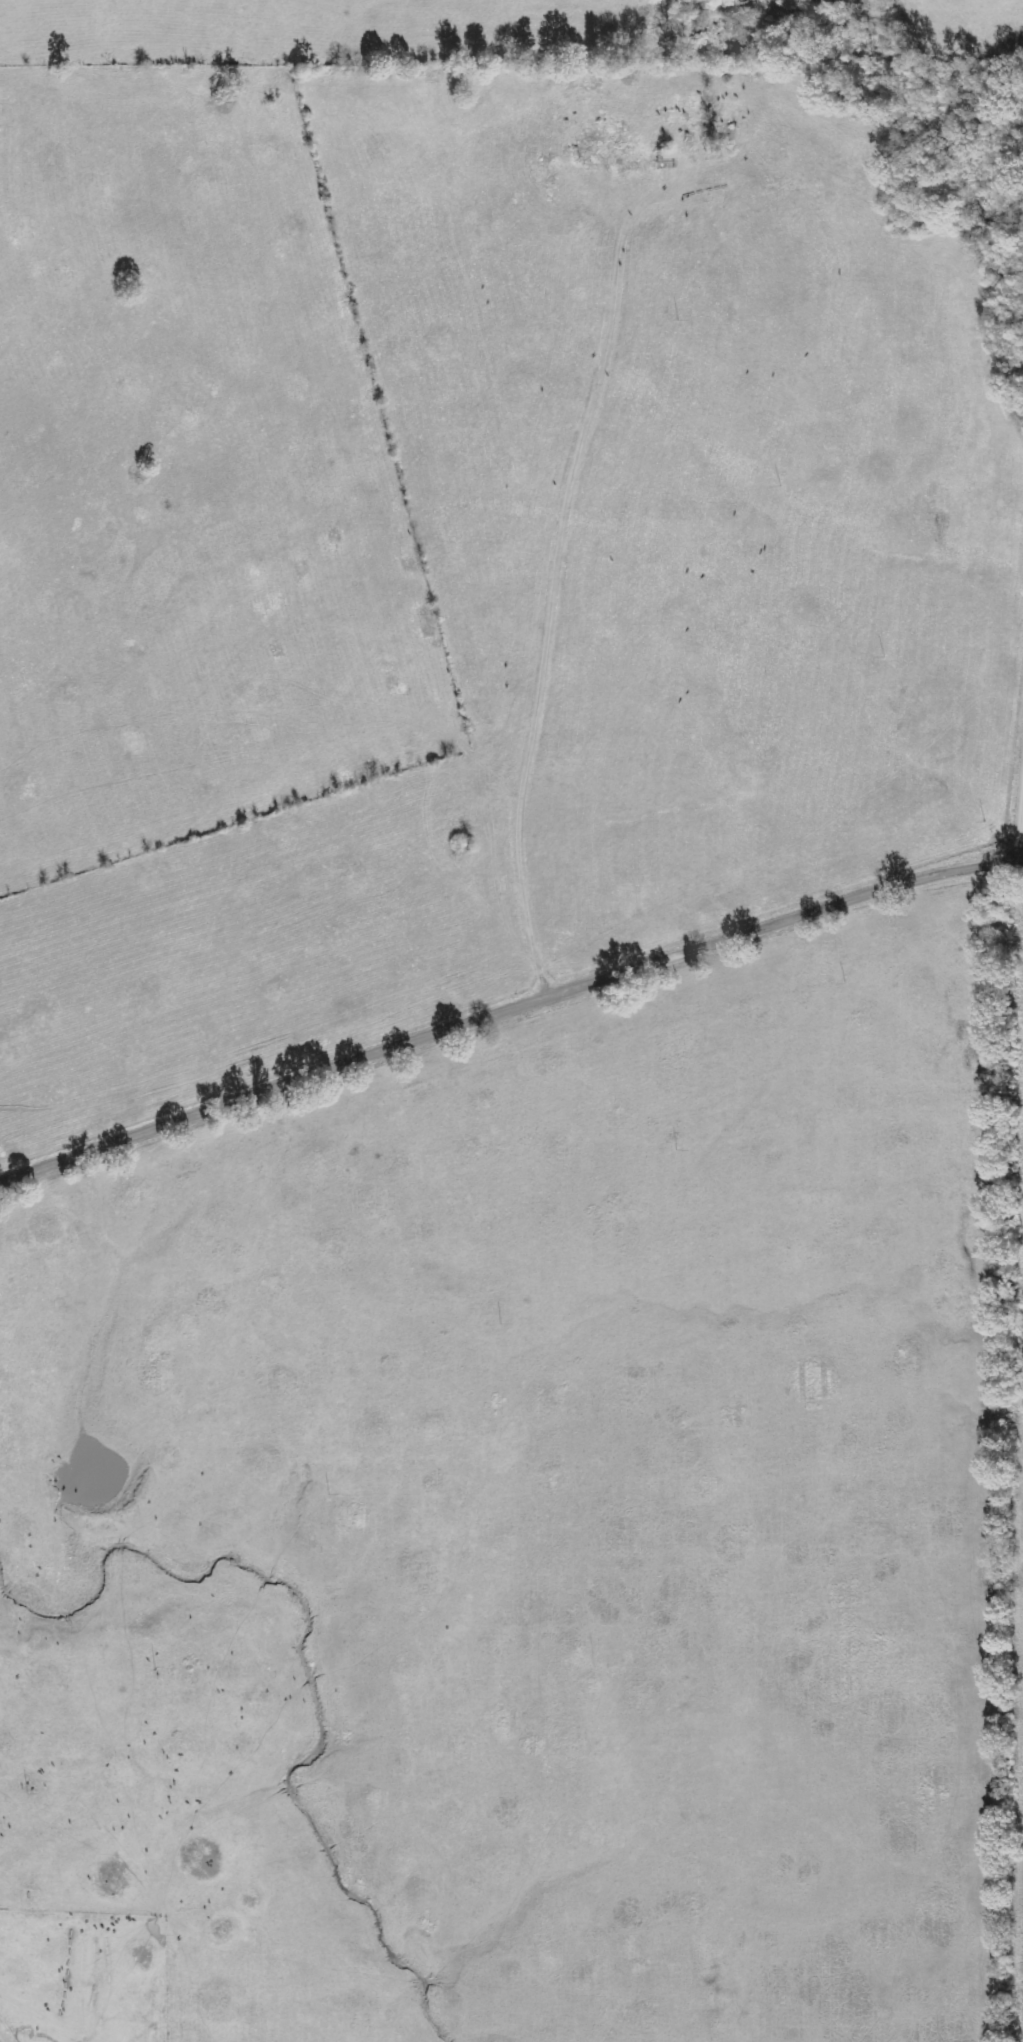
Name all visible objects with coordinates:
road: (509, 1017)

